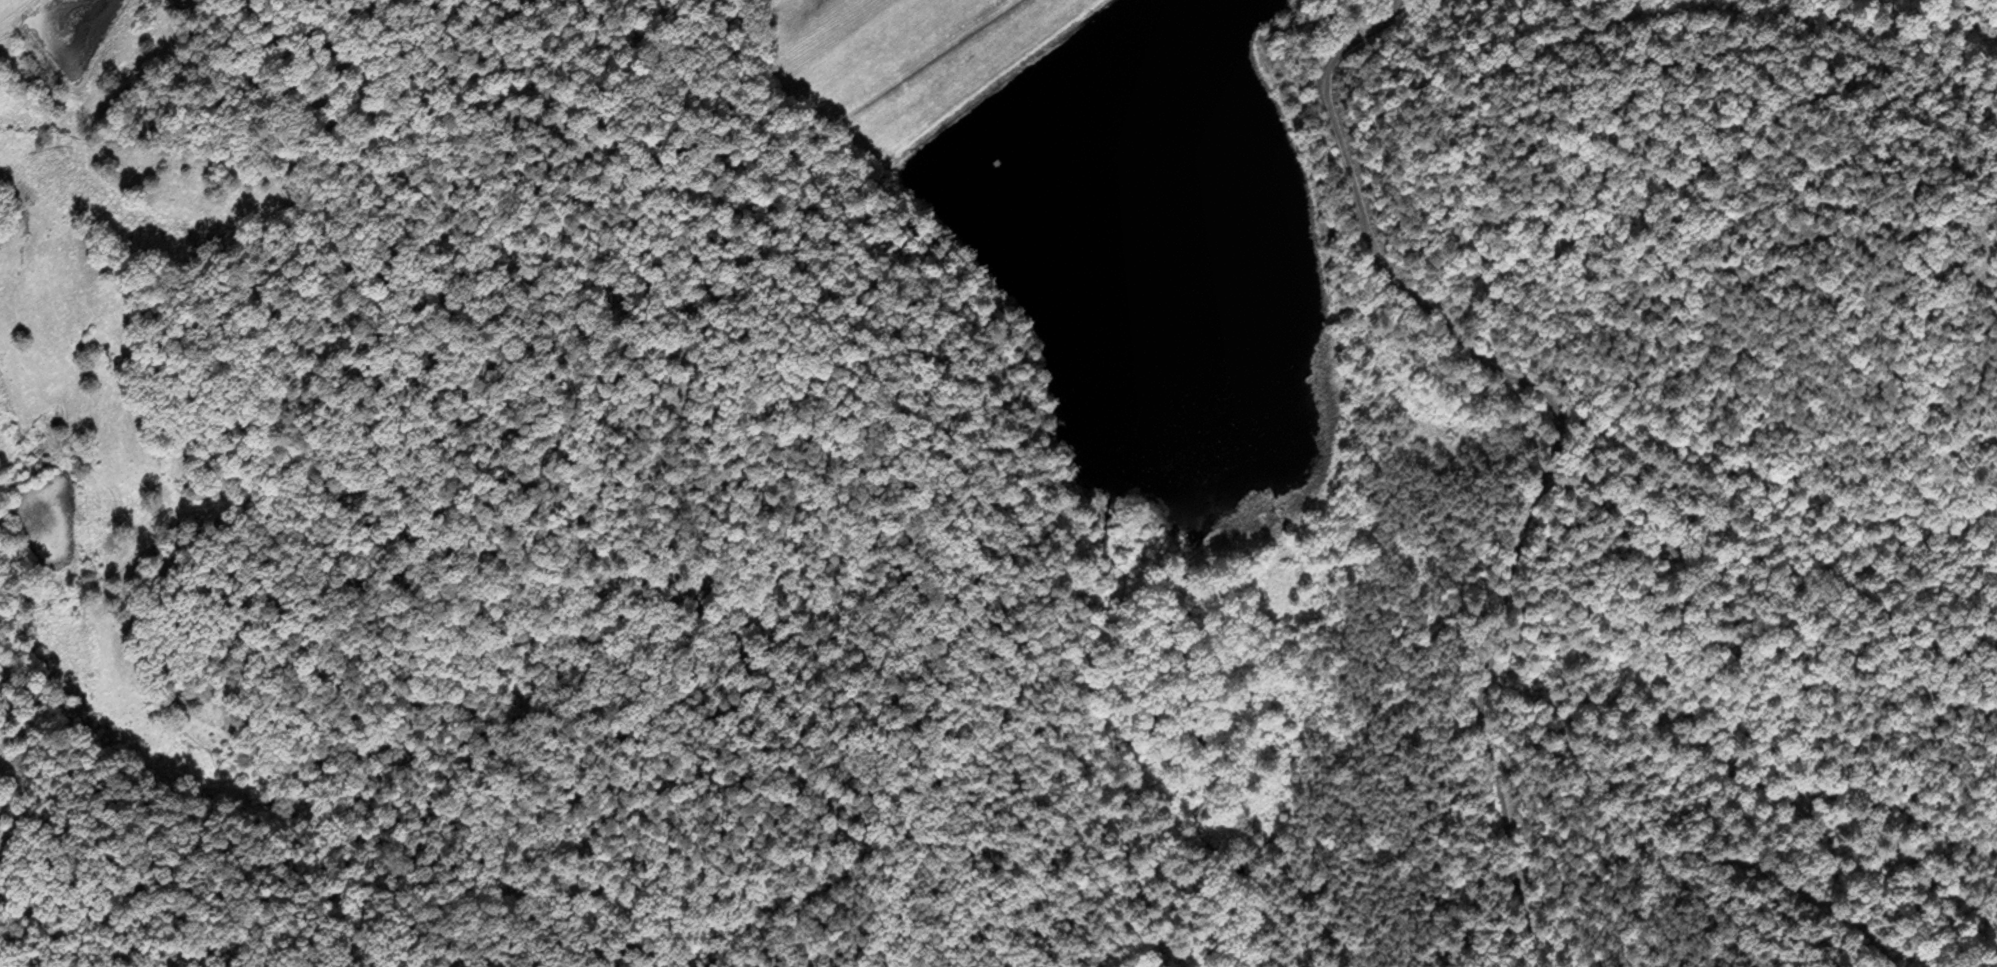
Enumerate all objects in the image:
dam: (860, 35)
road: (1519, 429)

